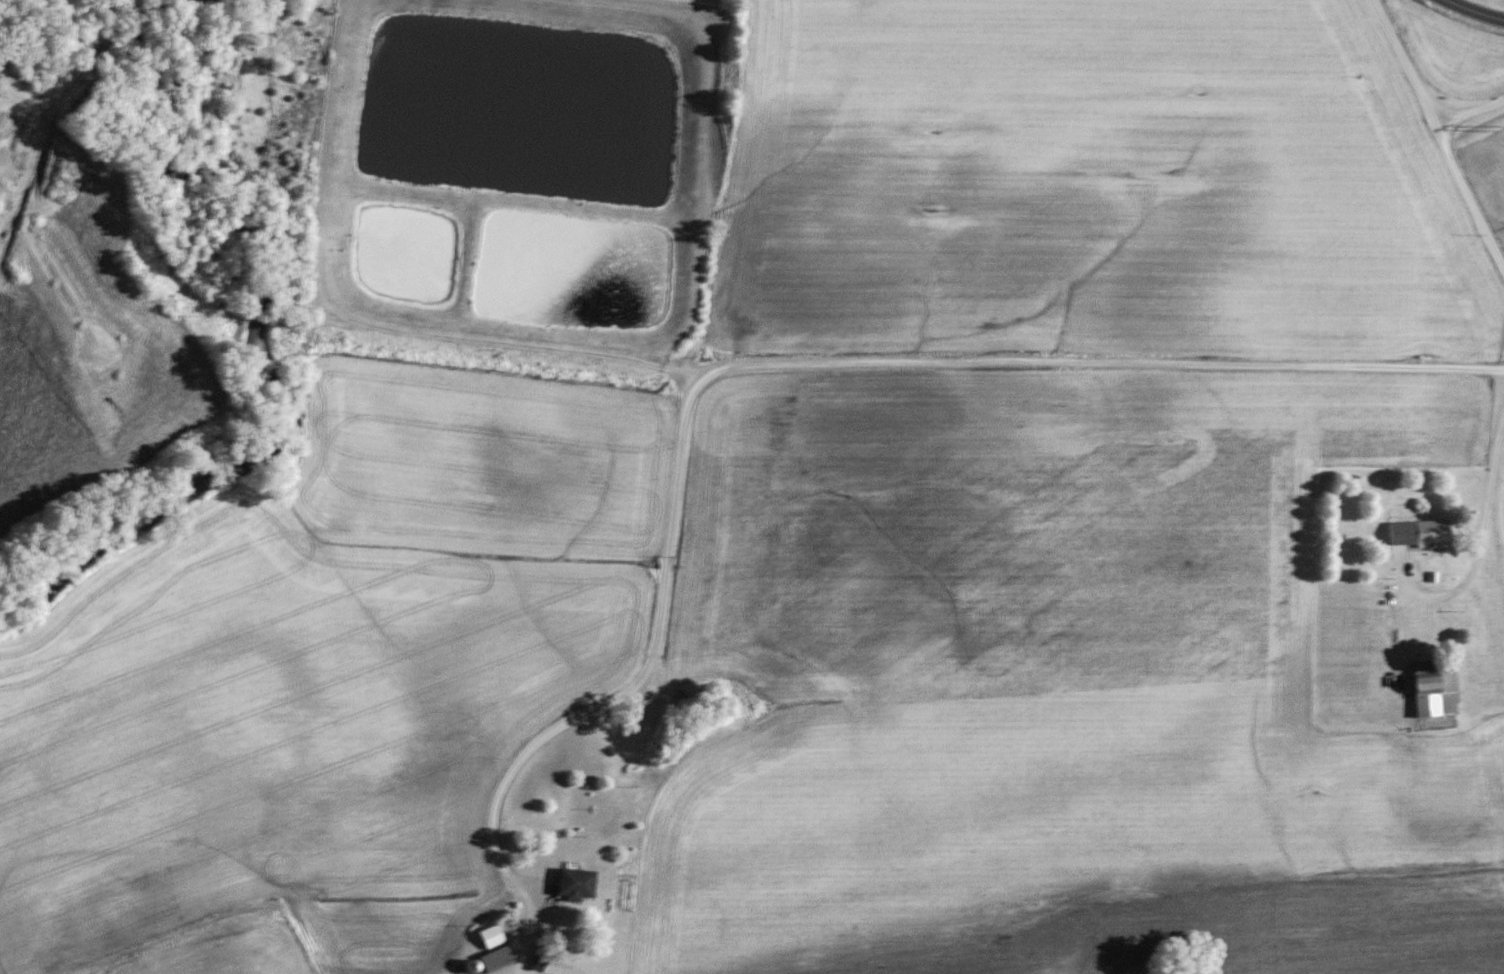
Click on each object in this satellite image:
road: (1474, 11)
road: (1399, 60)
road: (1471, 110)
road: (1466, 192)
road: (793, 369)
road: (1482, 529)
building: (1417, 533)
building: (1432, 690)
building: (576, 884)
road: (535, 932)
building: (492, 936)
building: (496, 958)

